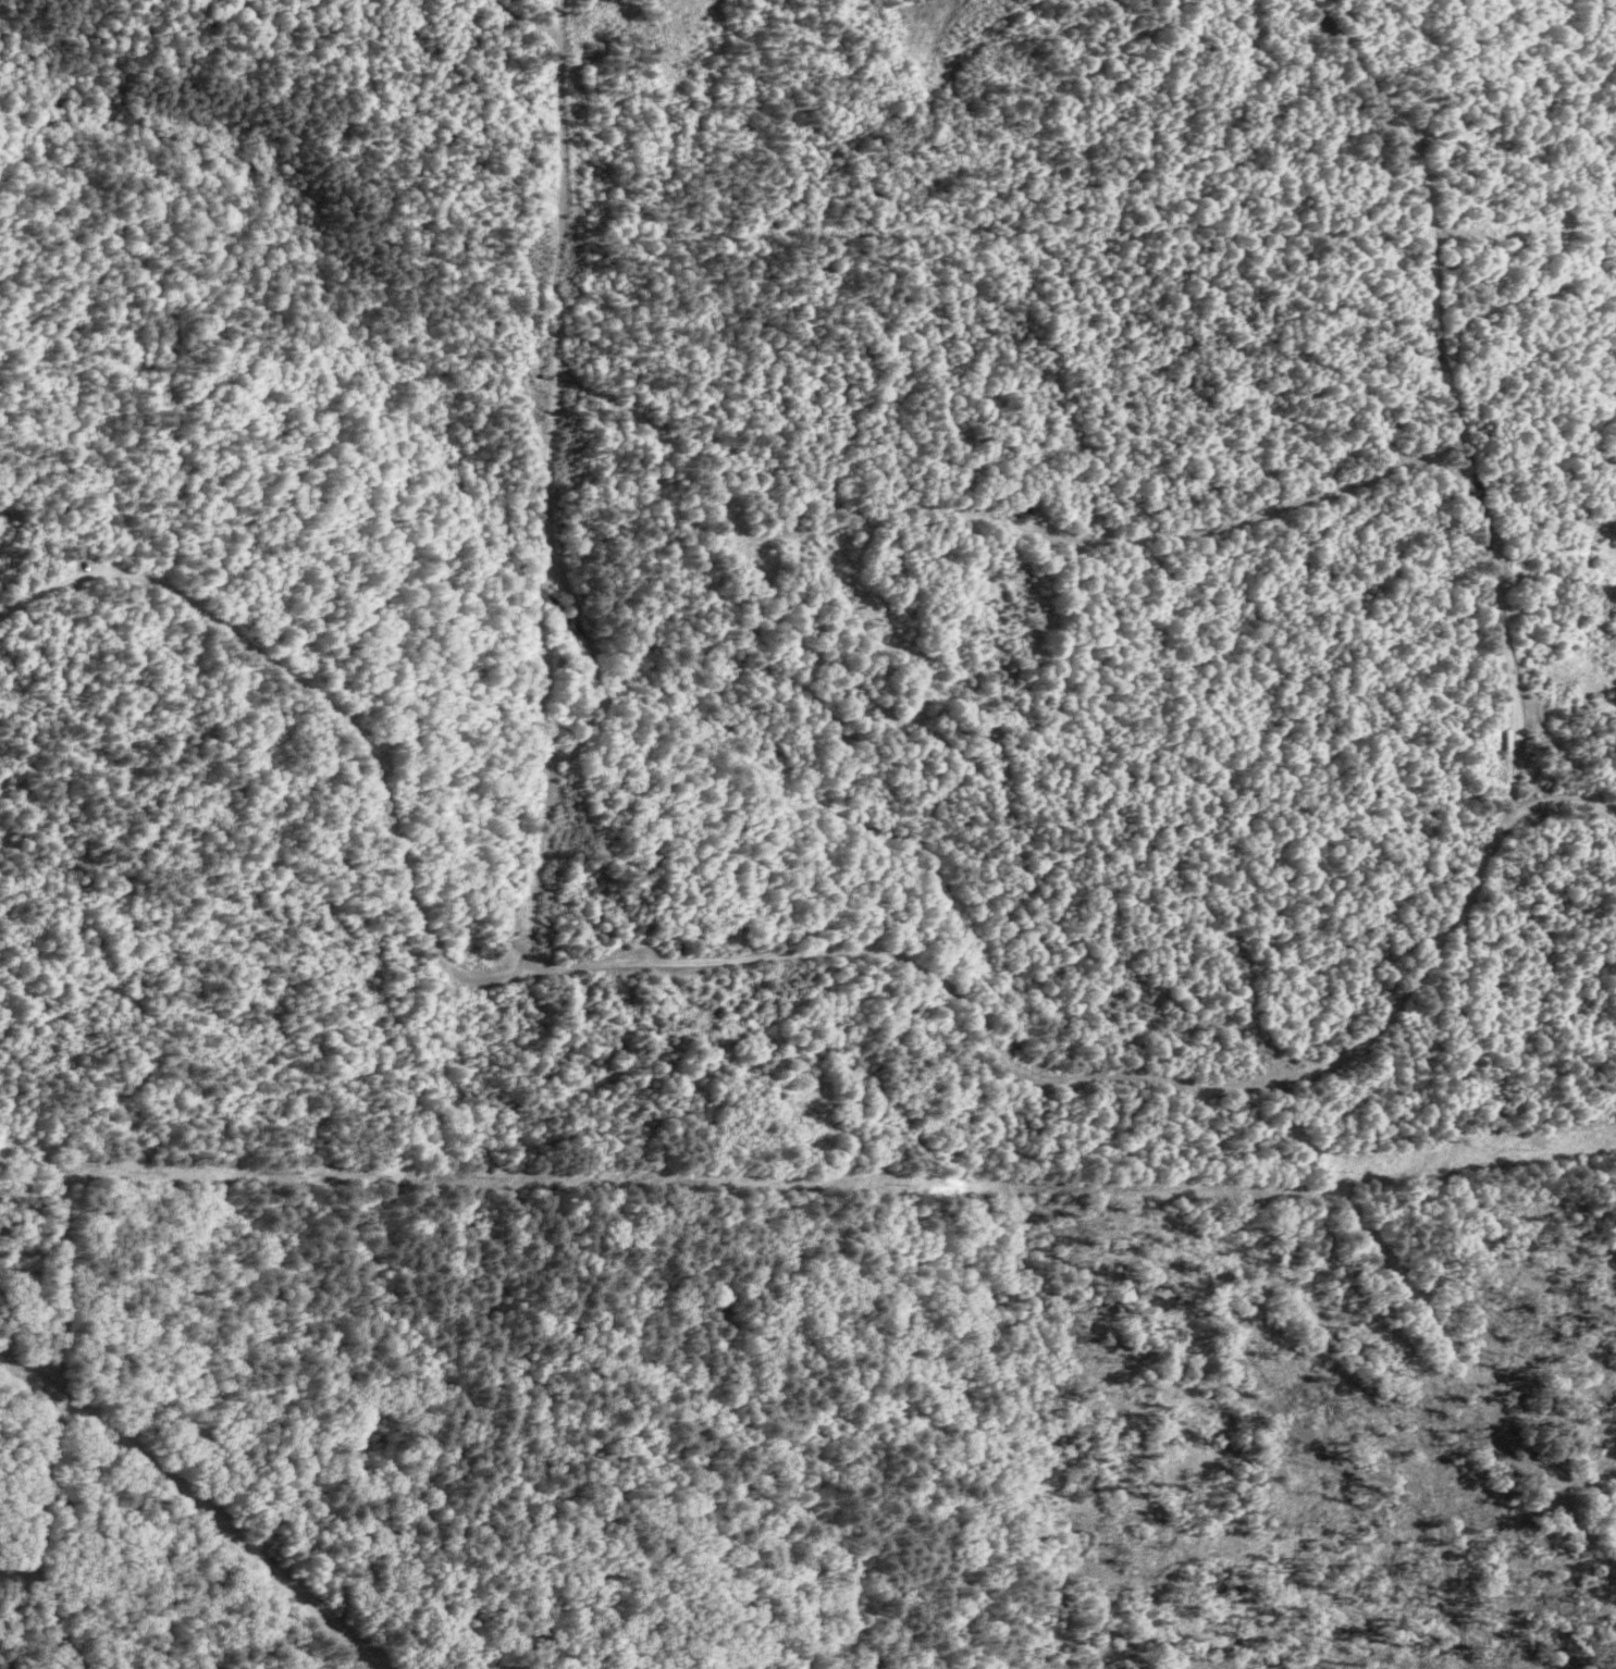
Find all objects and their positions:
road: (1111, 537)
road: (1562, 757)
road: (1102, 1076)
road: (195, 1507)
road: (39, 1537)

